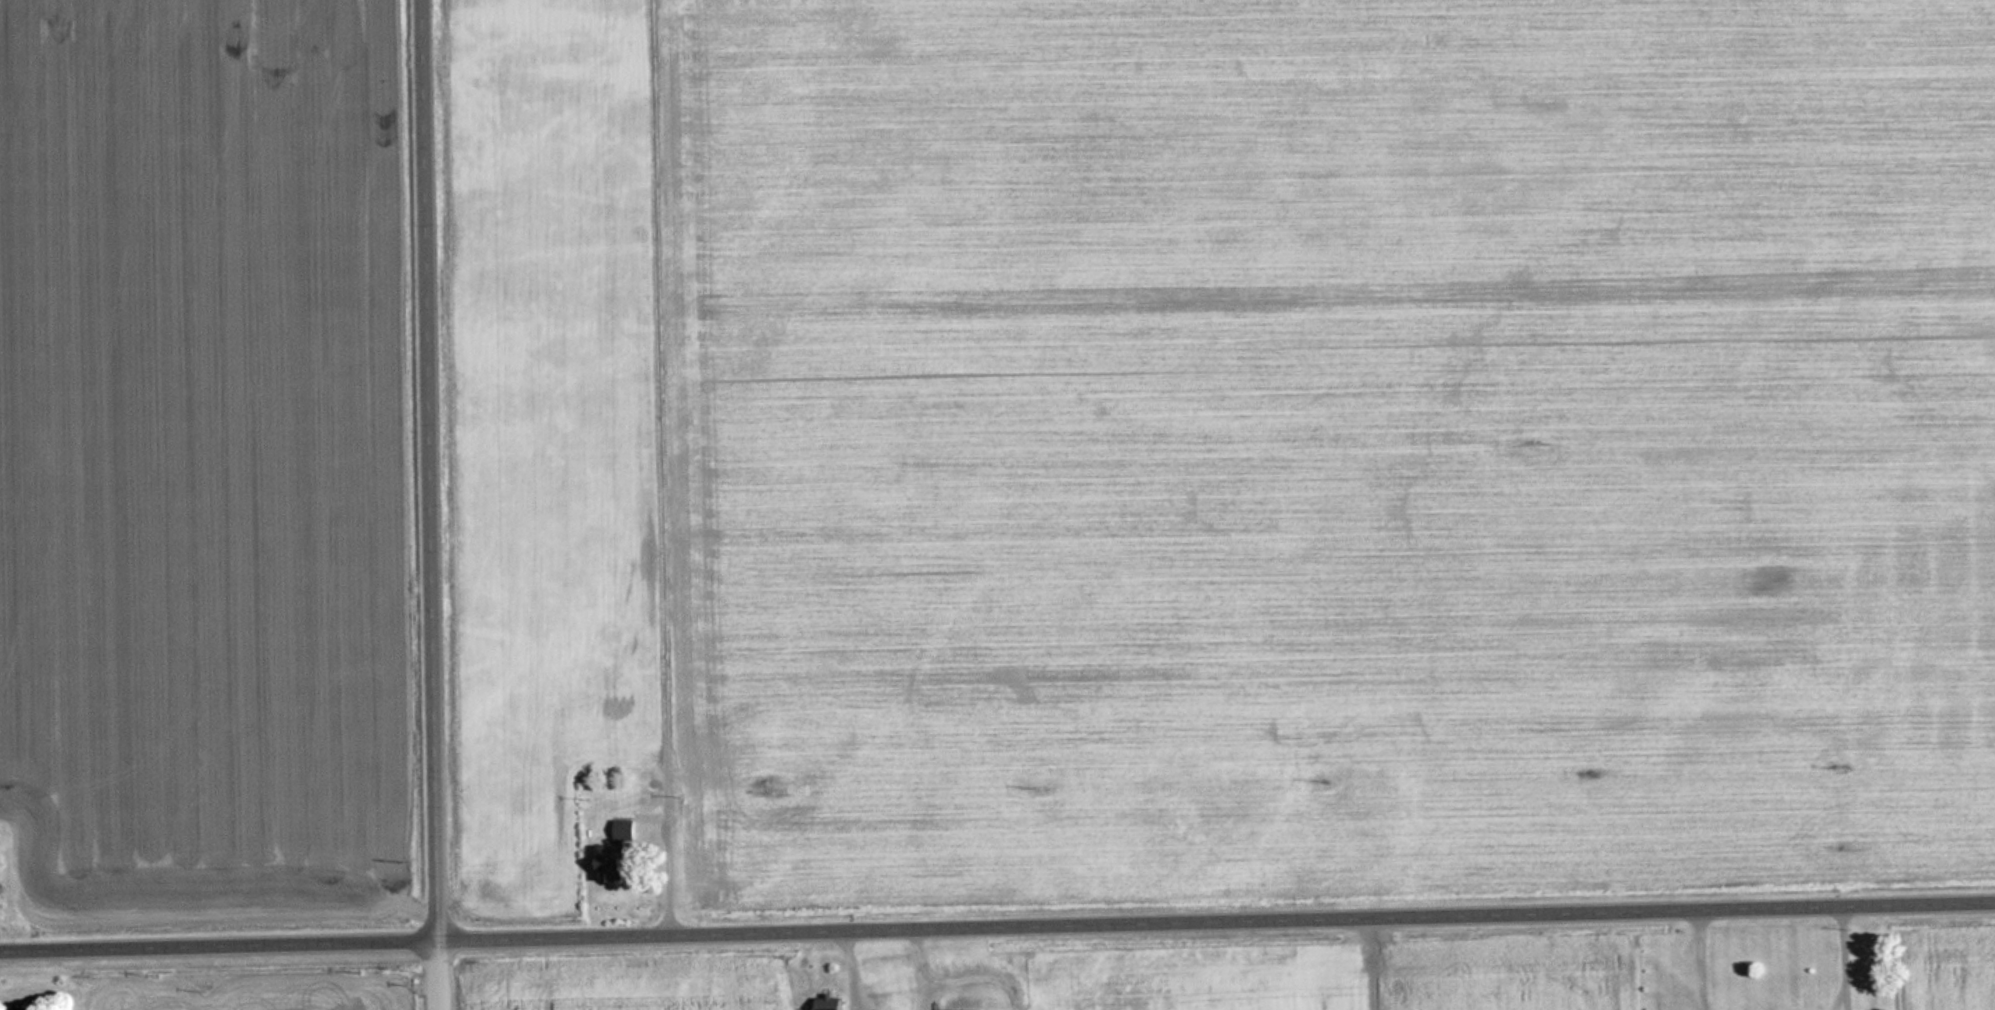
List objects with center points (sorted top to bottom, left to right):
road: (438, 505)
building: (707, 748)
building: (612, 757)
building: (615, 863)
road: (997, 933)
road: (1368, 966)
building: (831, 1002)
building: (22, 1009)

